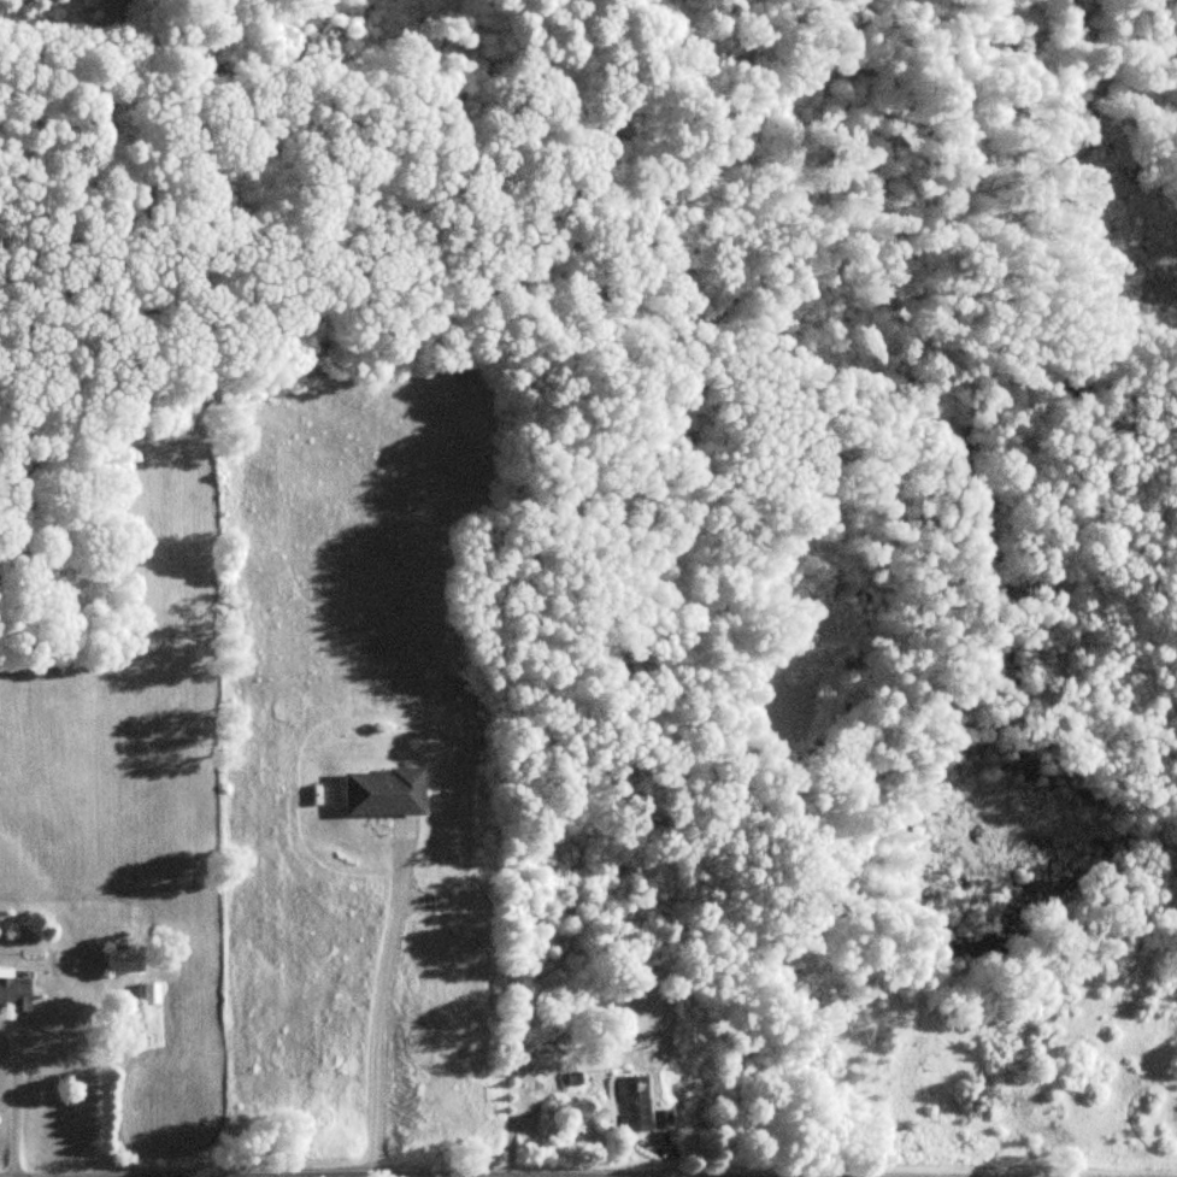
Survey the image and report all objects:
building: (379, 793)
building: (122, 960)
building: (13, 993)
building: (149, 993)
road: (377, 1006)
road: (13, 1101)
building: (629, 1104)
building: (658, 1118)

